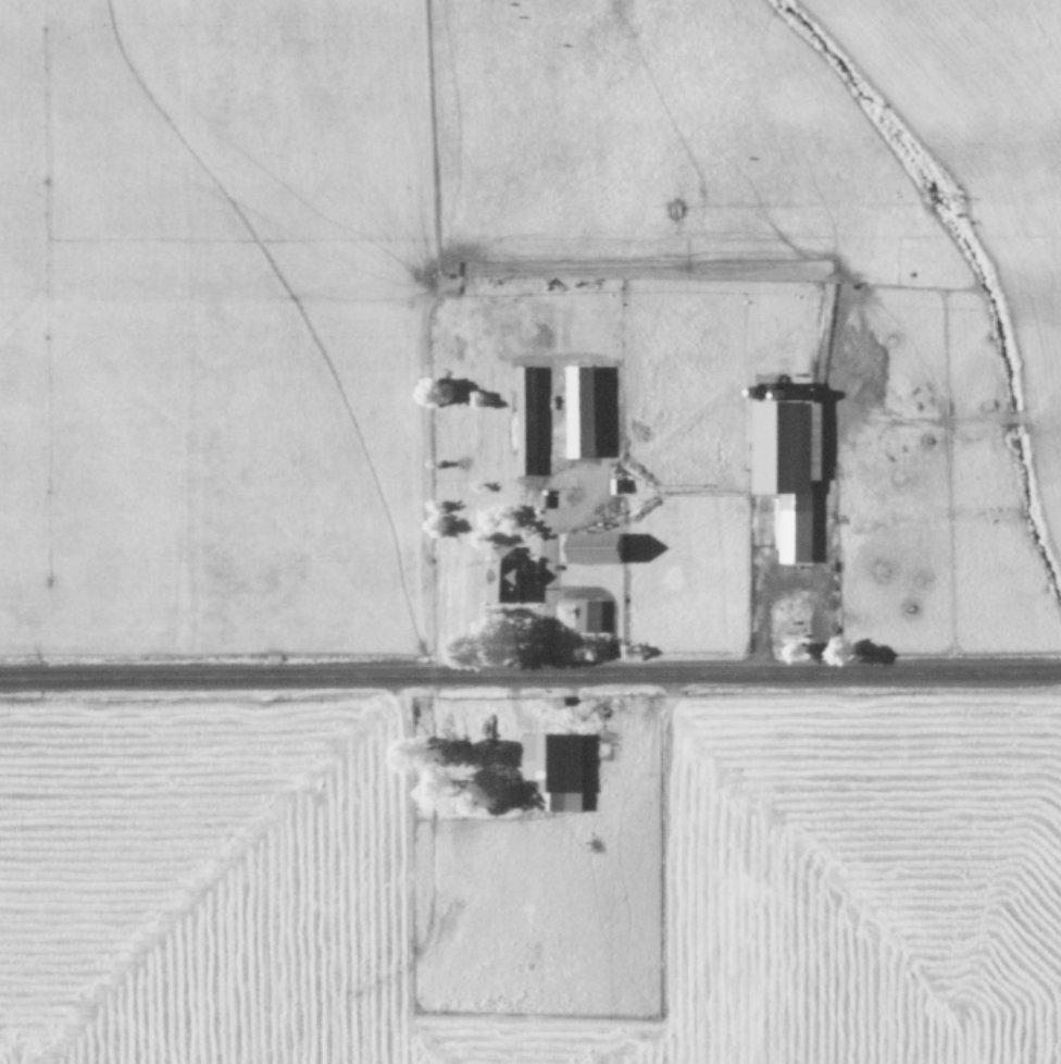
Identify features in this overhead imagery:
crop: (528, 347)
building: (586, 411)
building: (790, 468)
building: (597, 547)
building: (508, 574)
building: (588, 616)
road: (530, 677)
building: (554, 772)
crop: (534, 879)

